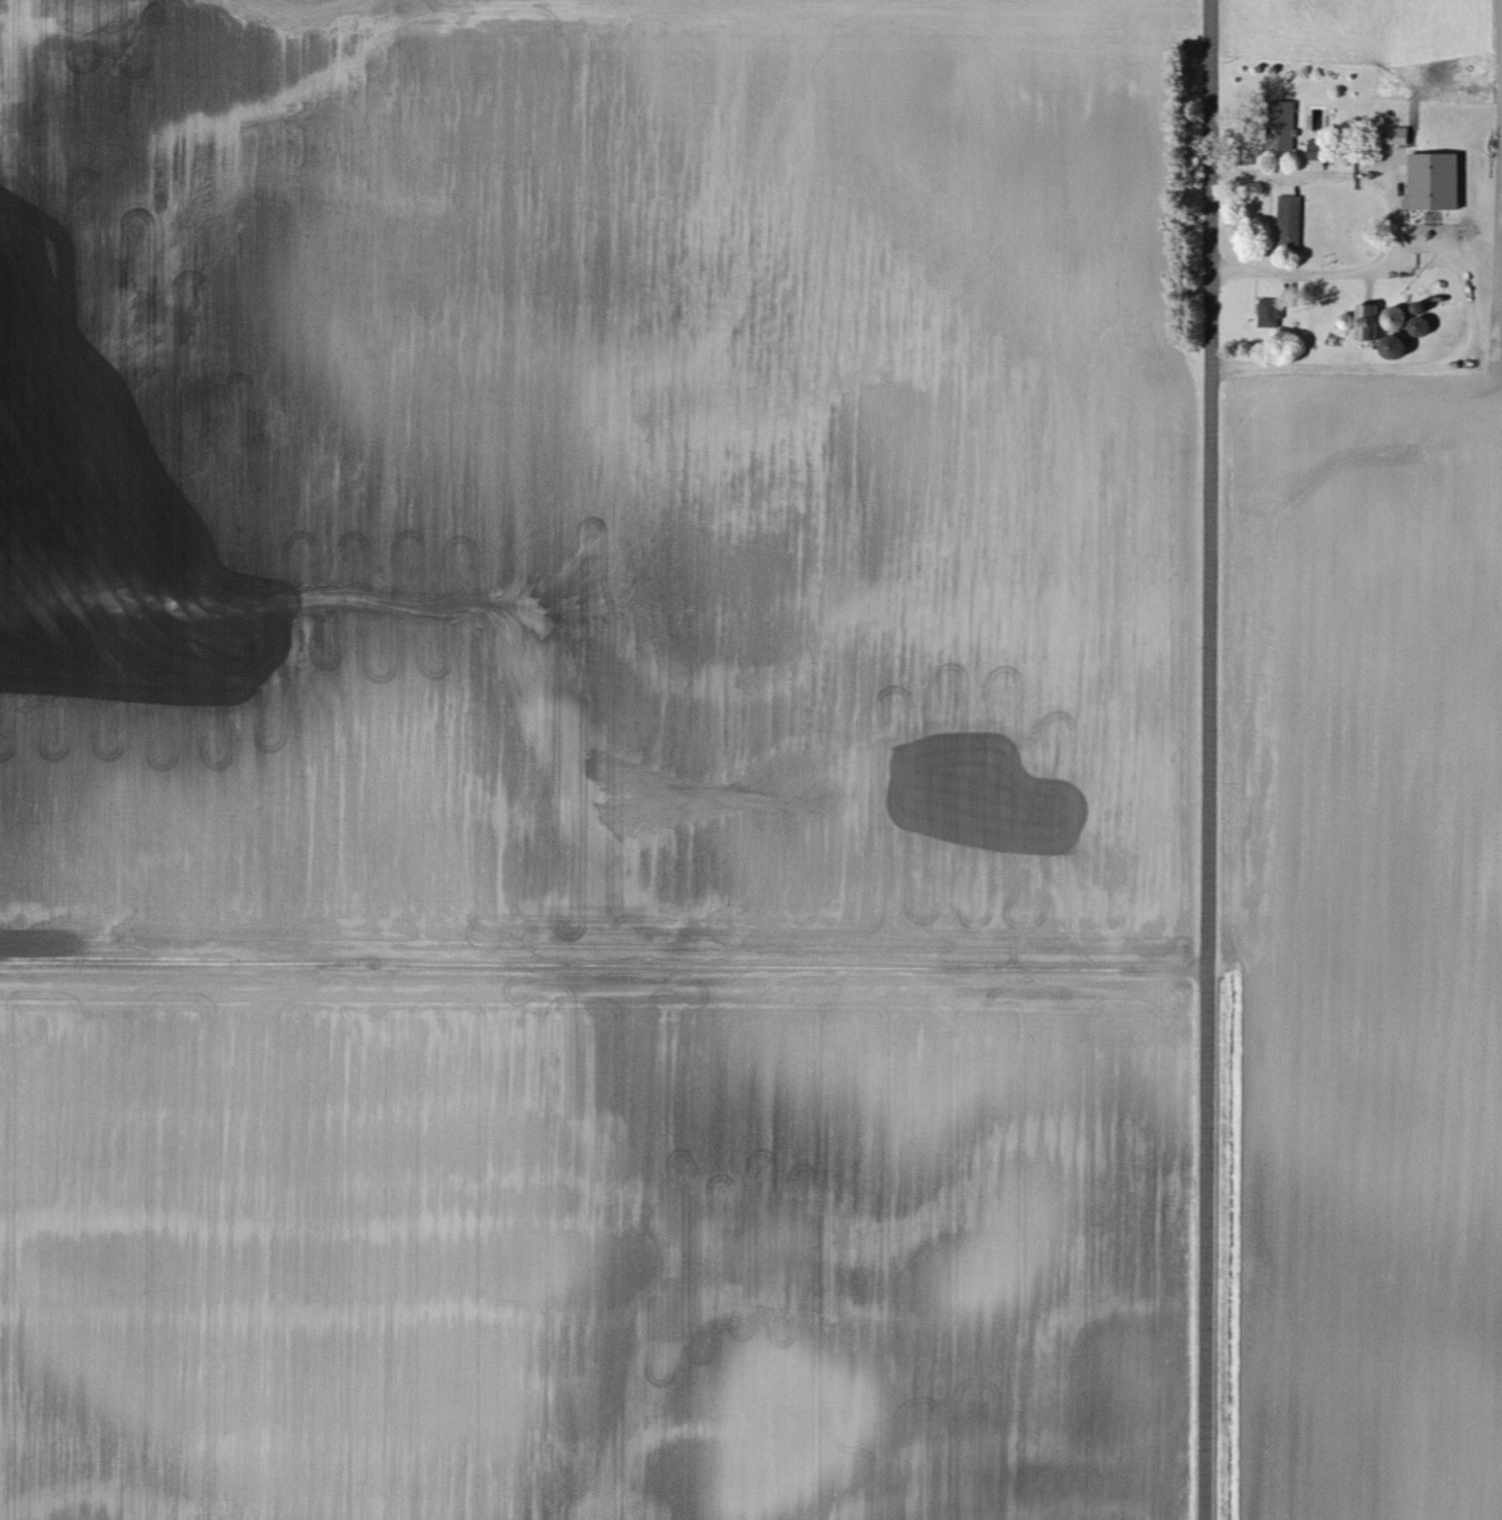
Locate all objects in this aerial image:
building: (1280, 122)
building: (1395, 133)
building: (1433, 178)
building: (1288, 220)
road: (1395, 223)
building: (1367, 320)
road: (1420, 365)
road: (1210, 759)

